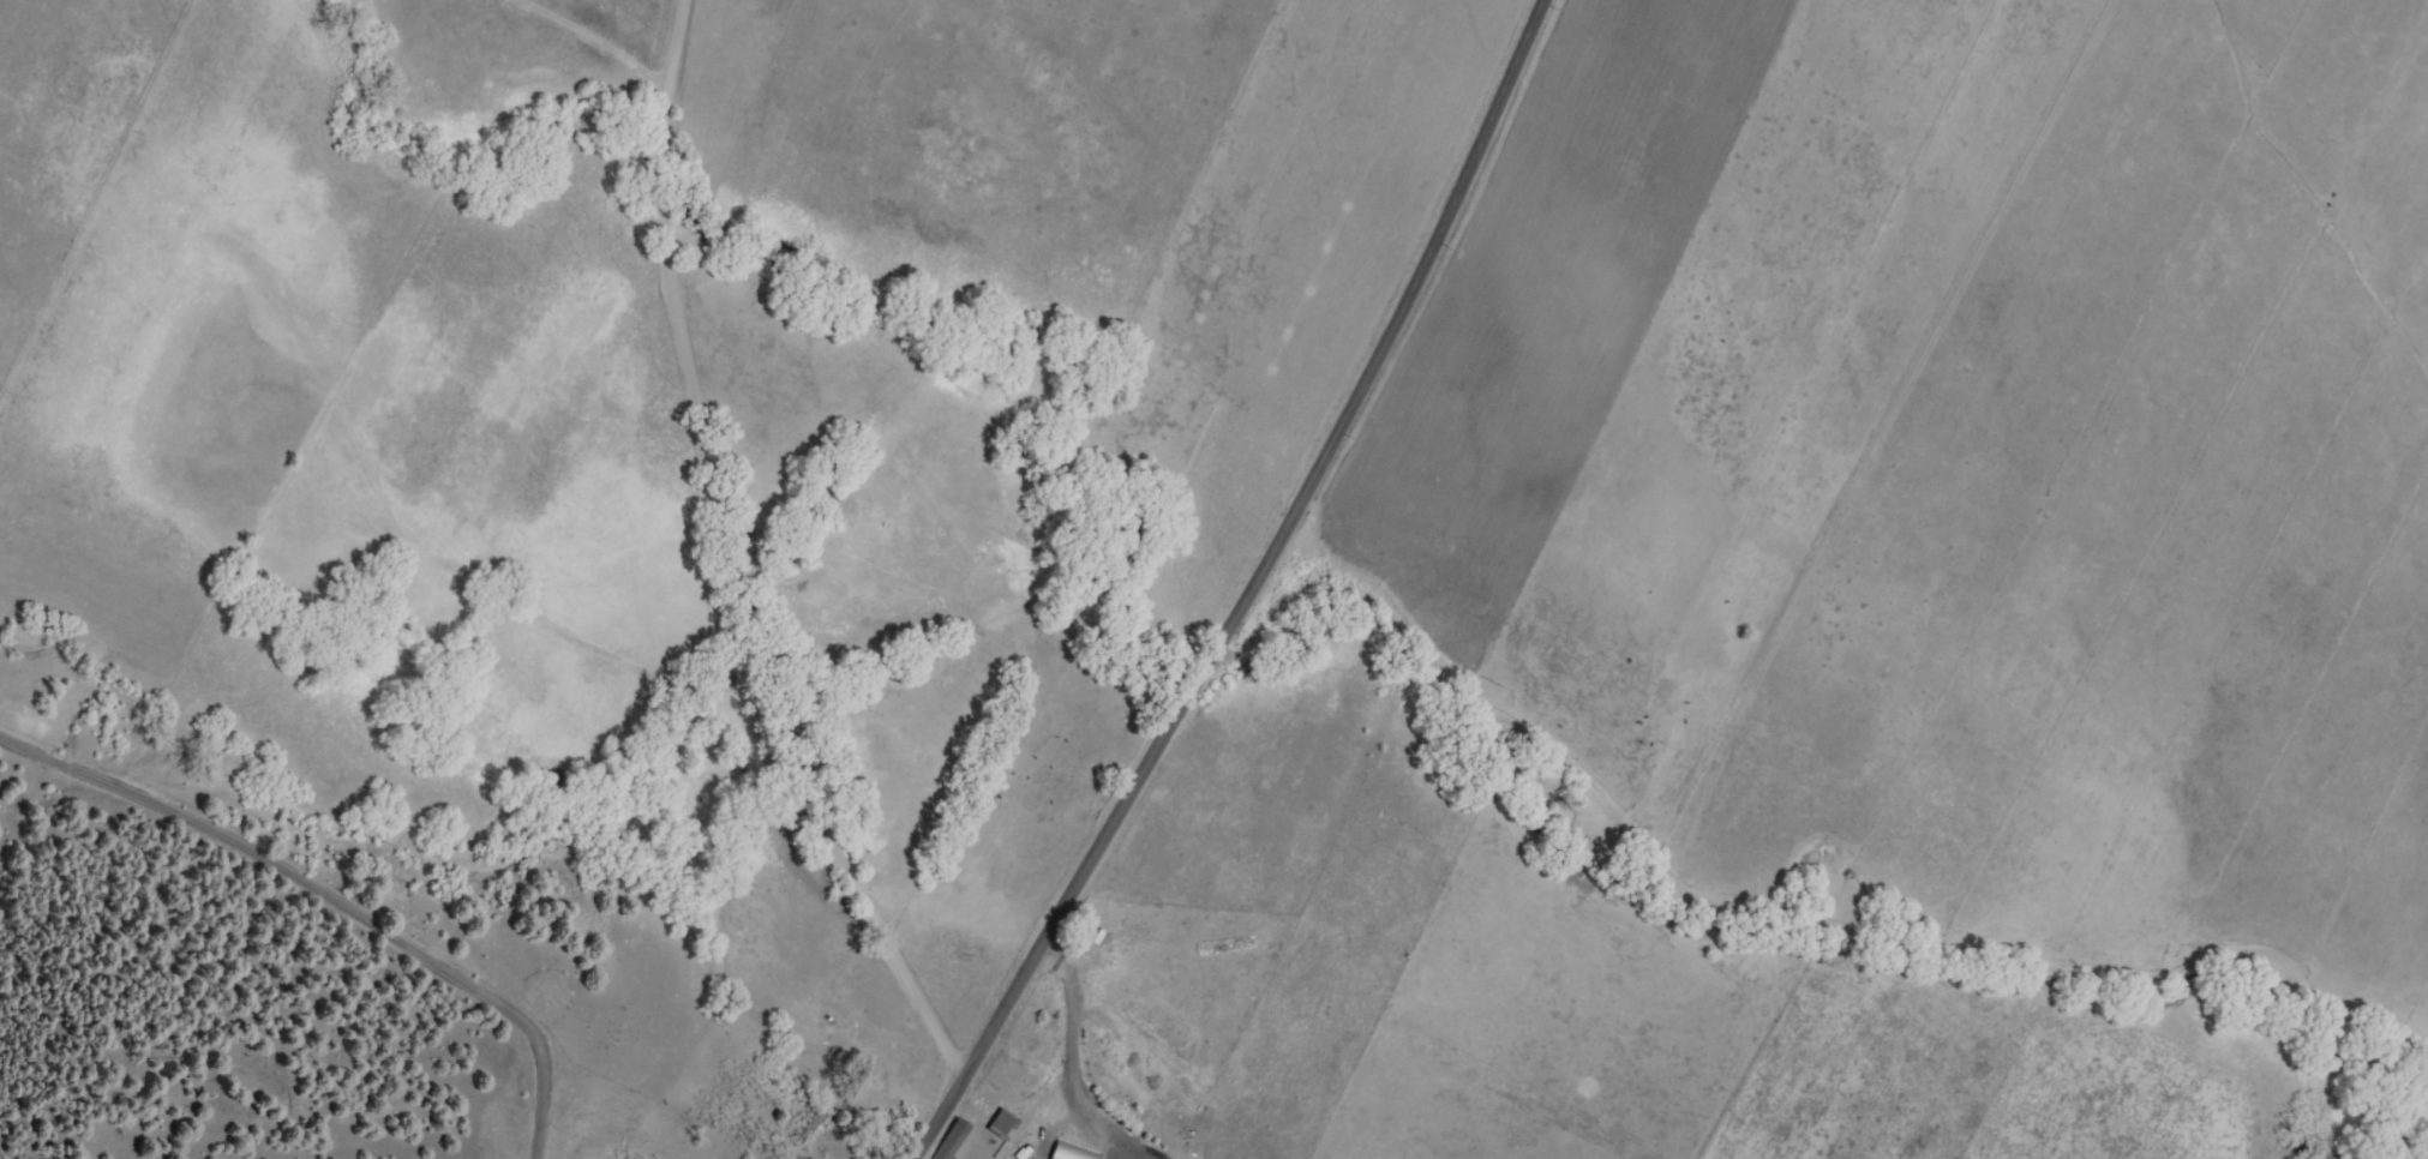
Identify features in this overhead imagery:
road: (761, 556)
road: (1248, 591)
road: (331, 897)
building: (1006, 1124)
building: (813, 1127)
building: (958, 1140)
building: (1036, 1142)

